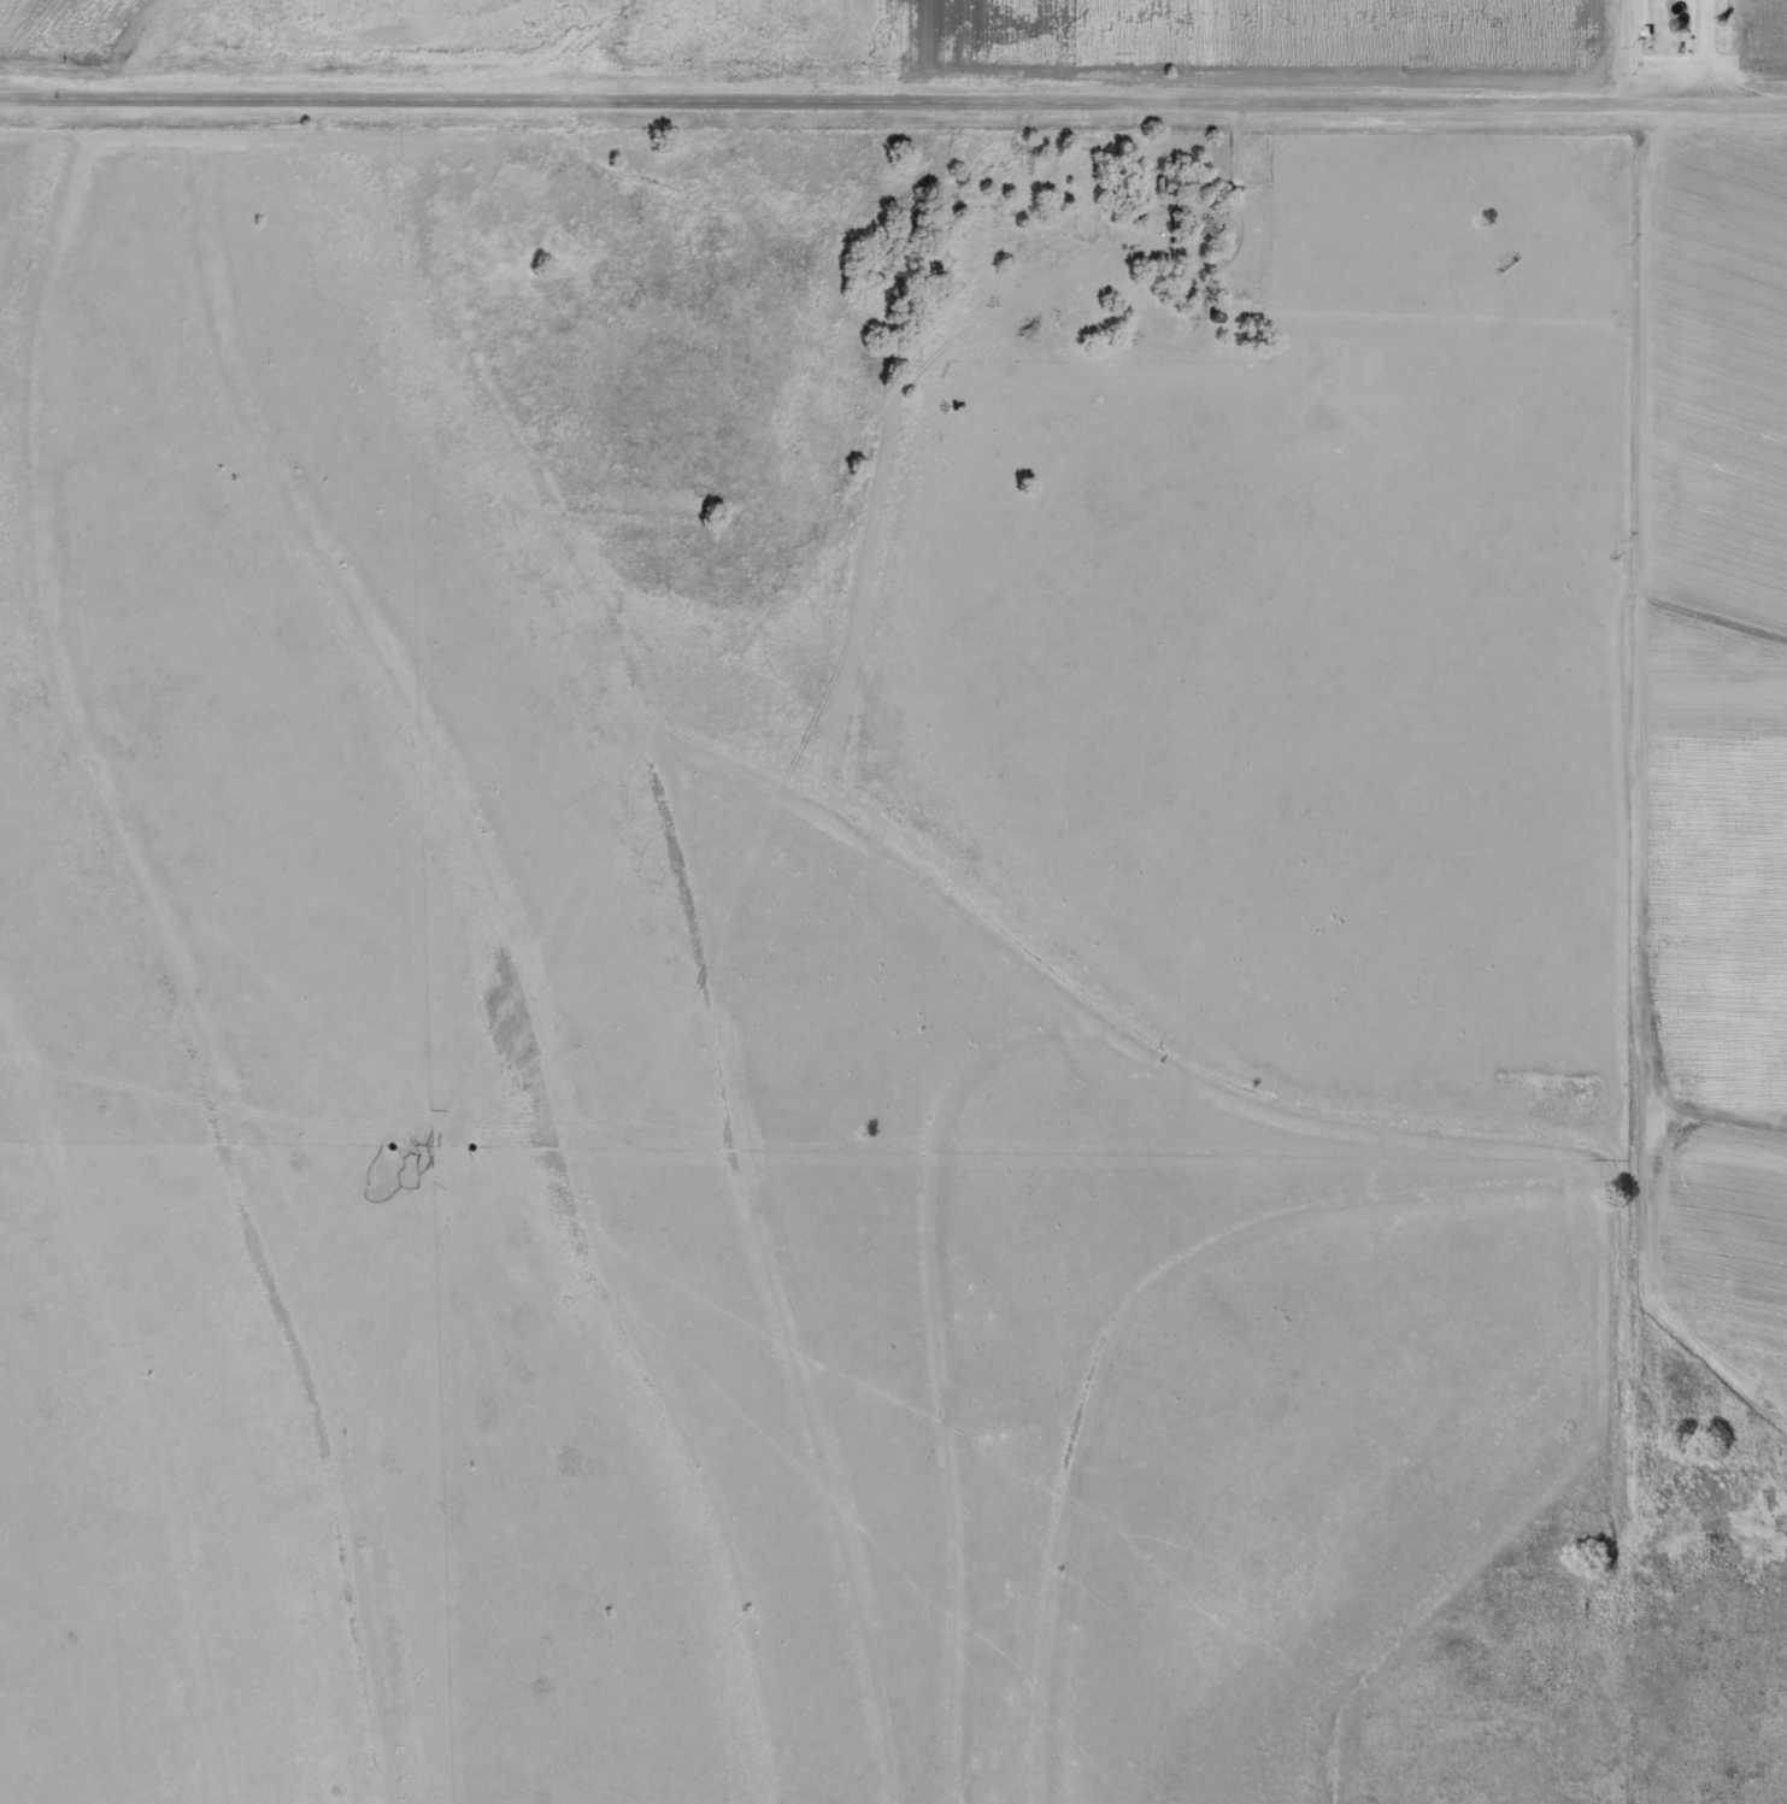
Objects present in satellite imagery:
road: (1587, 55)
road: (893, 110)

